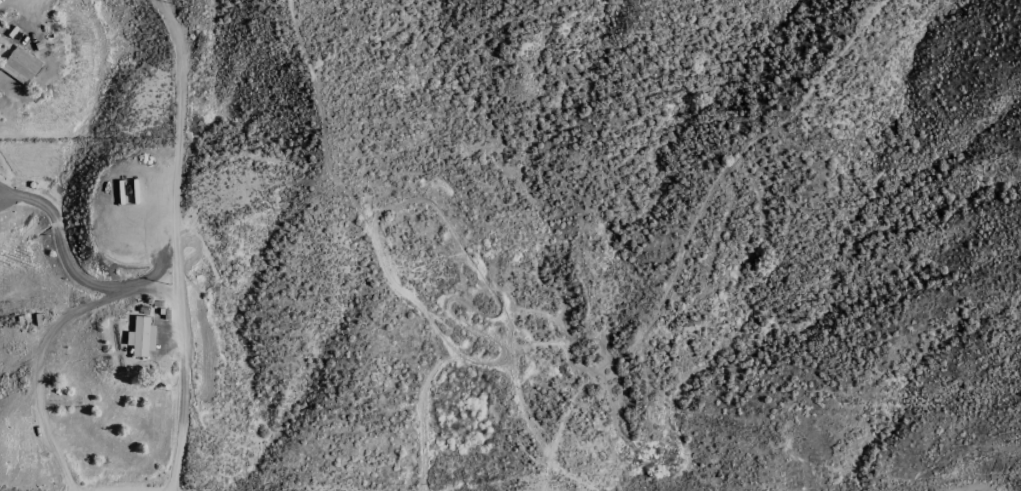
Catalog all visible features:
road: (164, 7)
road: (172, 7)
road: (30, 16)
building: (22, 67)
road: (62, 249)
road: (182, 252)
building: (140, 336)
road: (42, 337)

